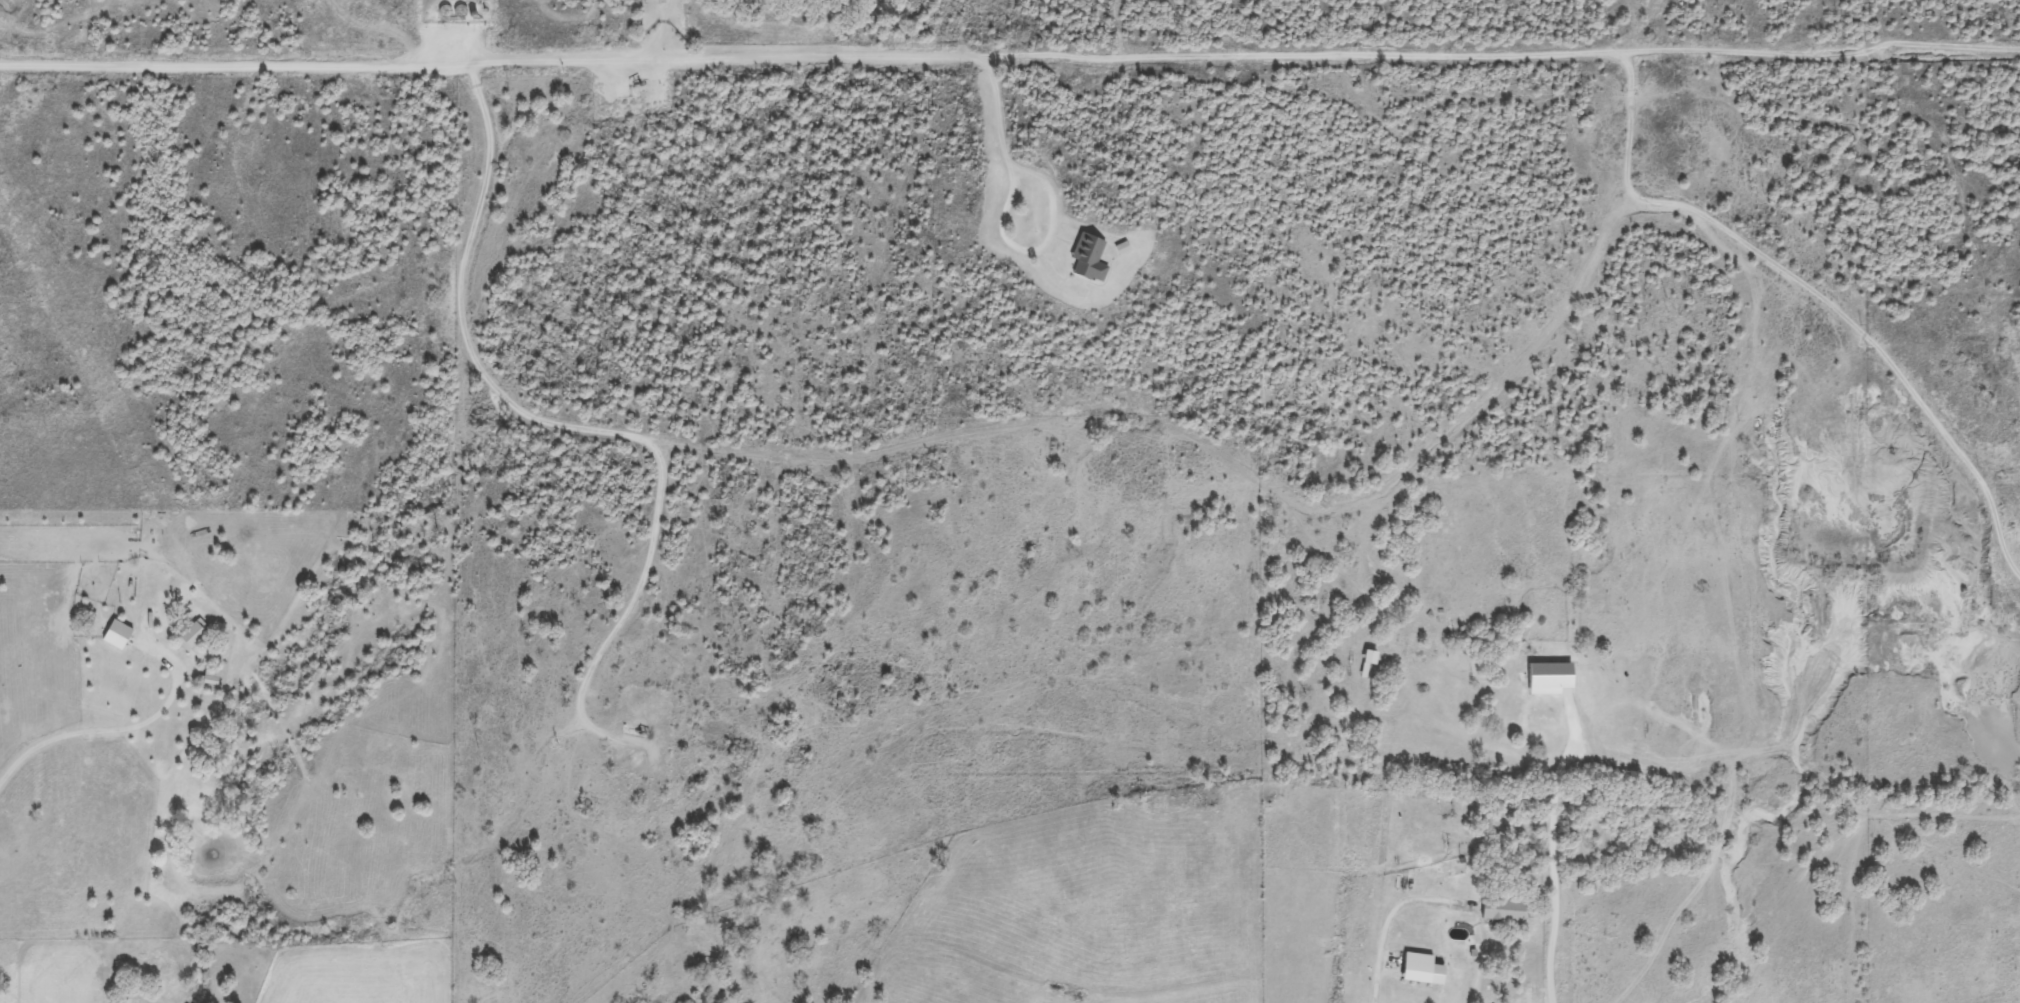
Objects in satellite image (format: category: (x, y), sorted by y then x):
building: (1090, 257)
building: (1370, 661)
building: (1551, 678)
building: (1493, 908)

